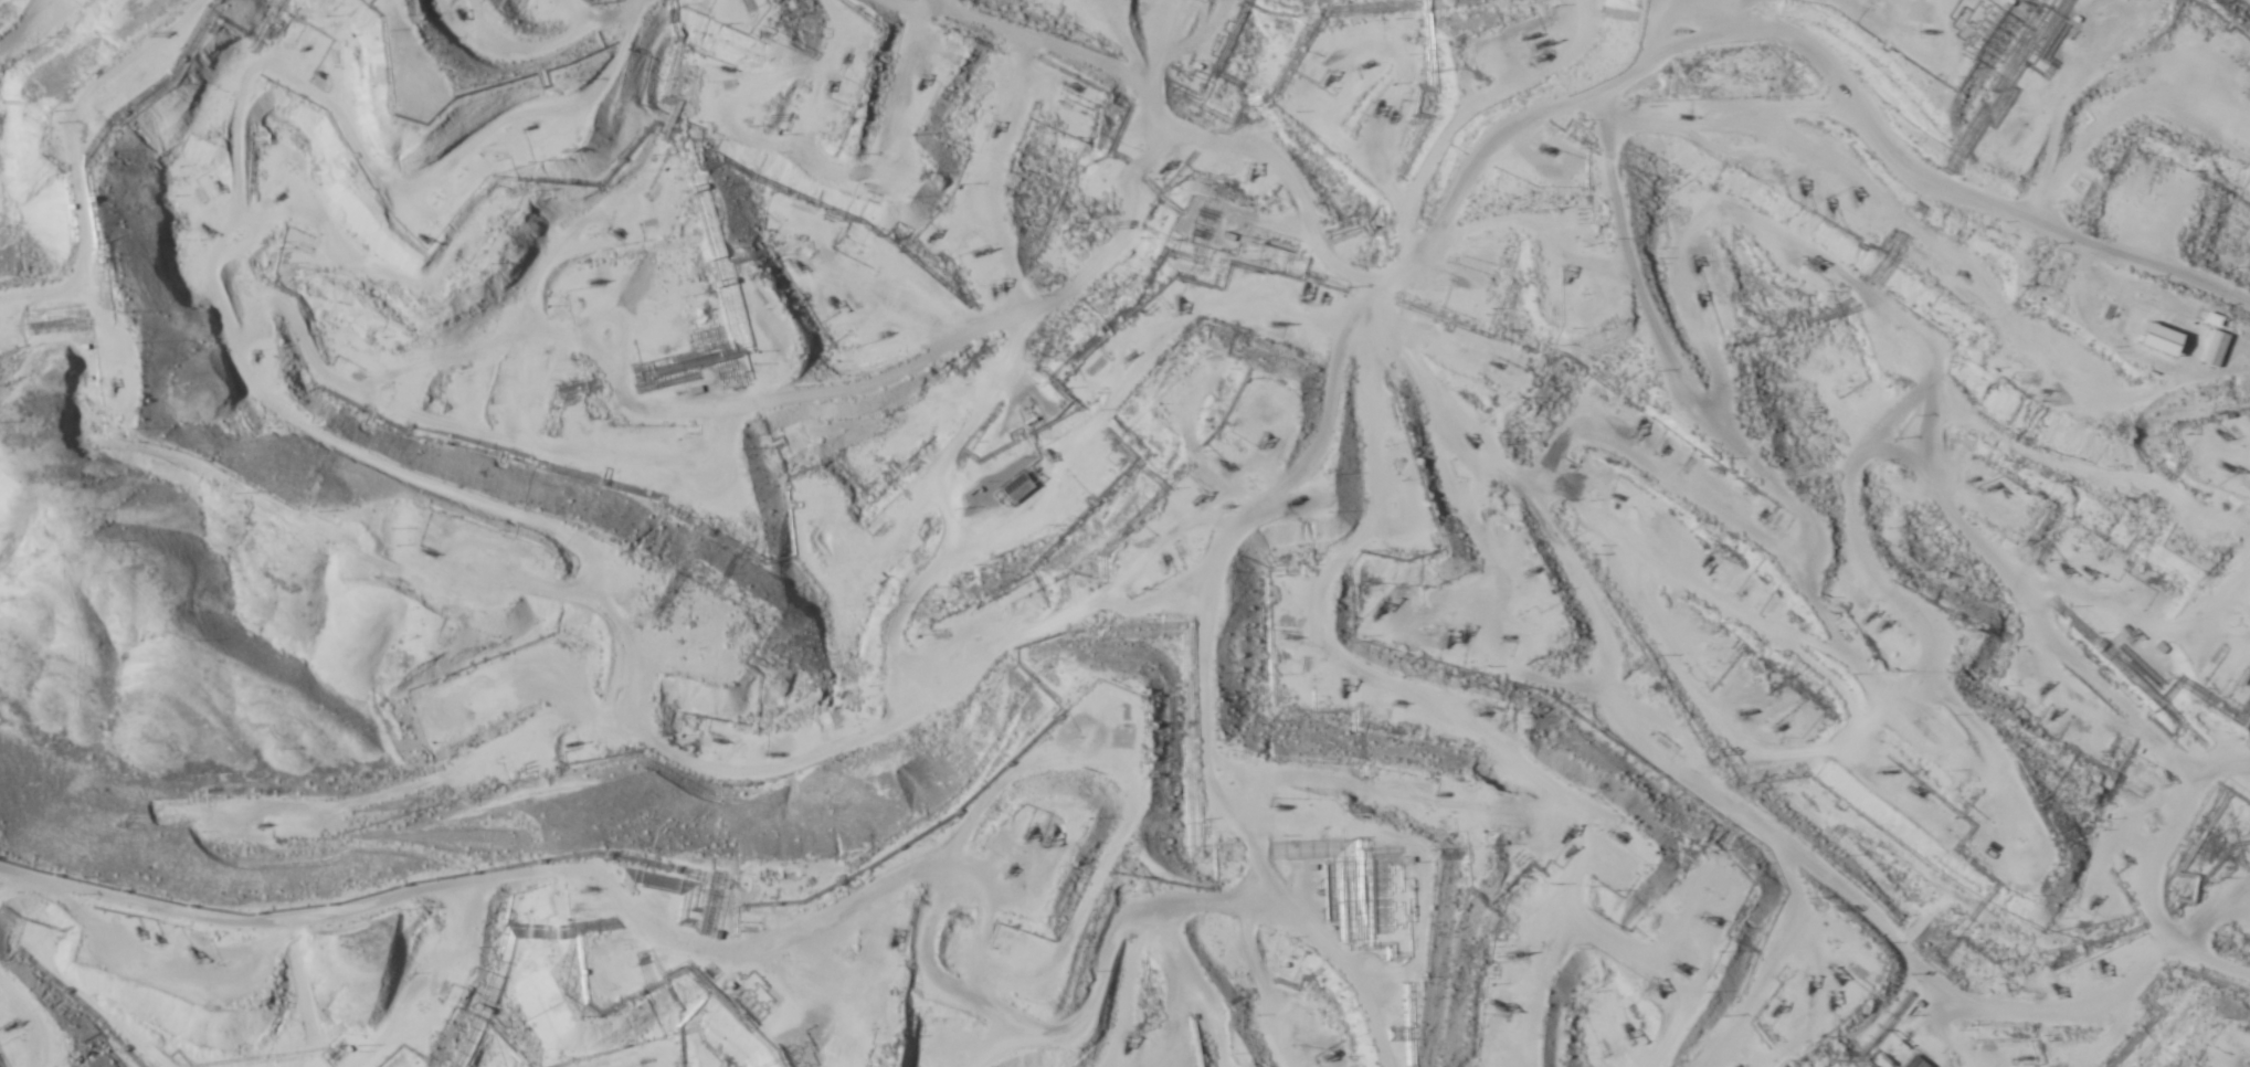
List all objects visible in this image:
building: (2156, 336)
building: (2214, 348)
building: (1020, 487)

